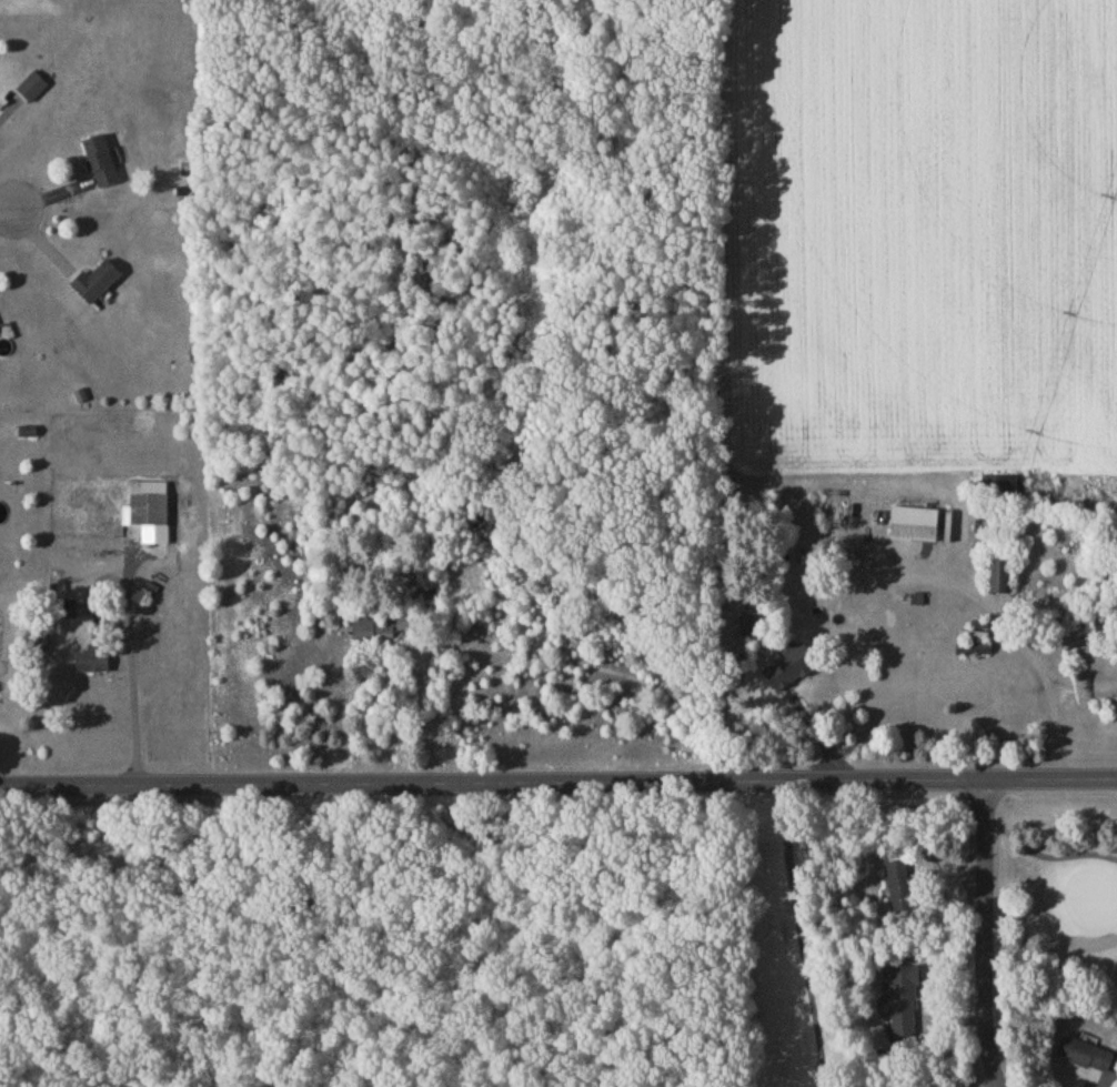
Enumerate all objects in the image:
building: (33, 91)
building: (102, 164)
road: (7, 214)
building: (99, 284)
building: (1002, 492)
building: (150, 507)
building: (916, 527)
building: (1000, 580)
building: (849, 588)
road: (1000, 615)
building: (382, 630)
road: (132, 655)
building: (94, 664)
building: (794, 670)
road: (1087, 686)
road: (558, 783)
road: (1046, 858)
building: (902, 888)
road: (987, 935)
park: (934, 944)
building: (906, 1009)
building: (1088, 1059)

